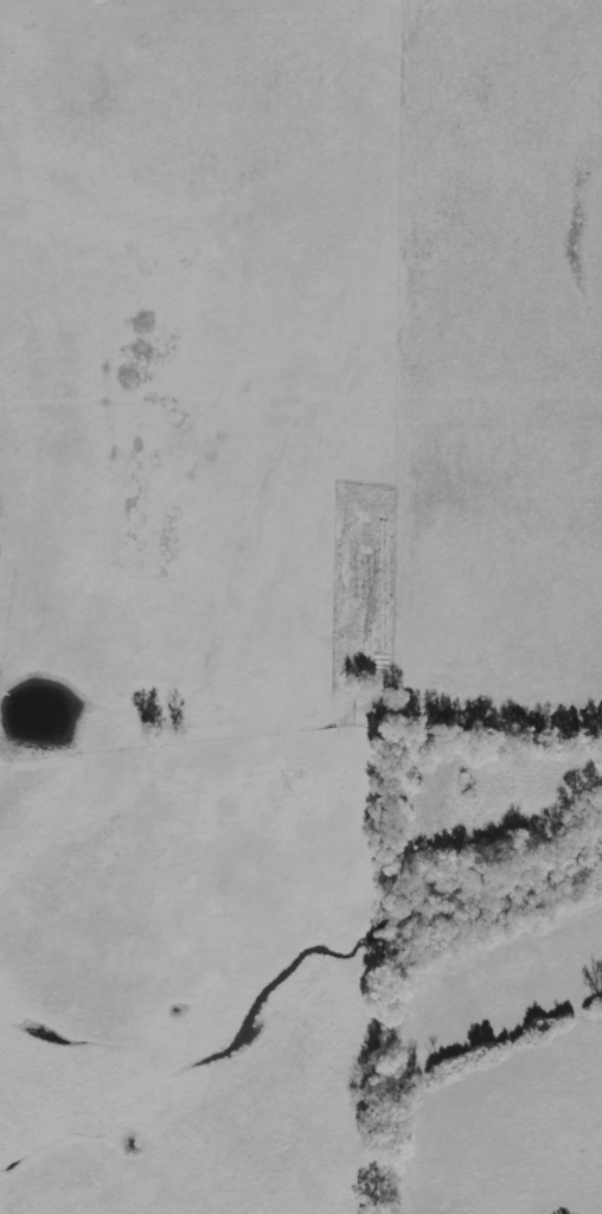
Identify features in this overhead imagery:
road: (301, 723)

